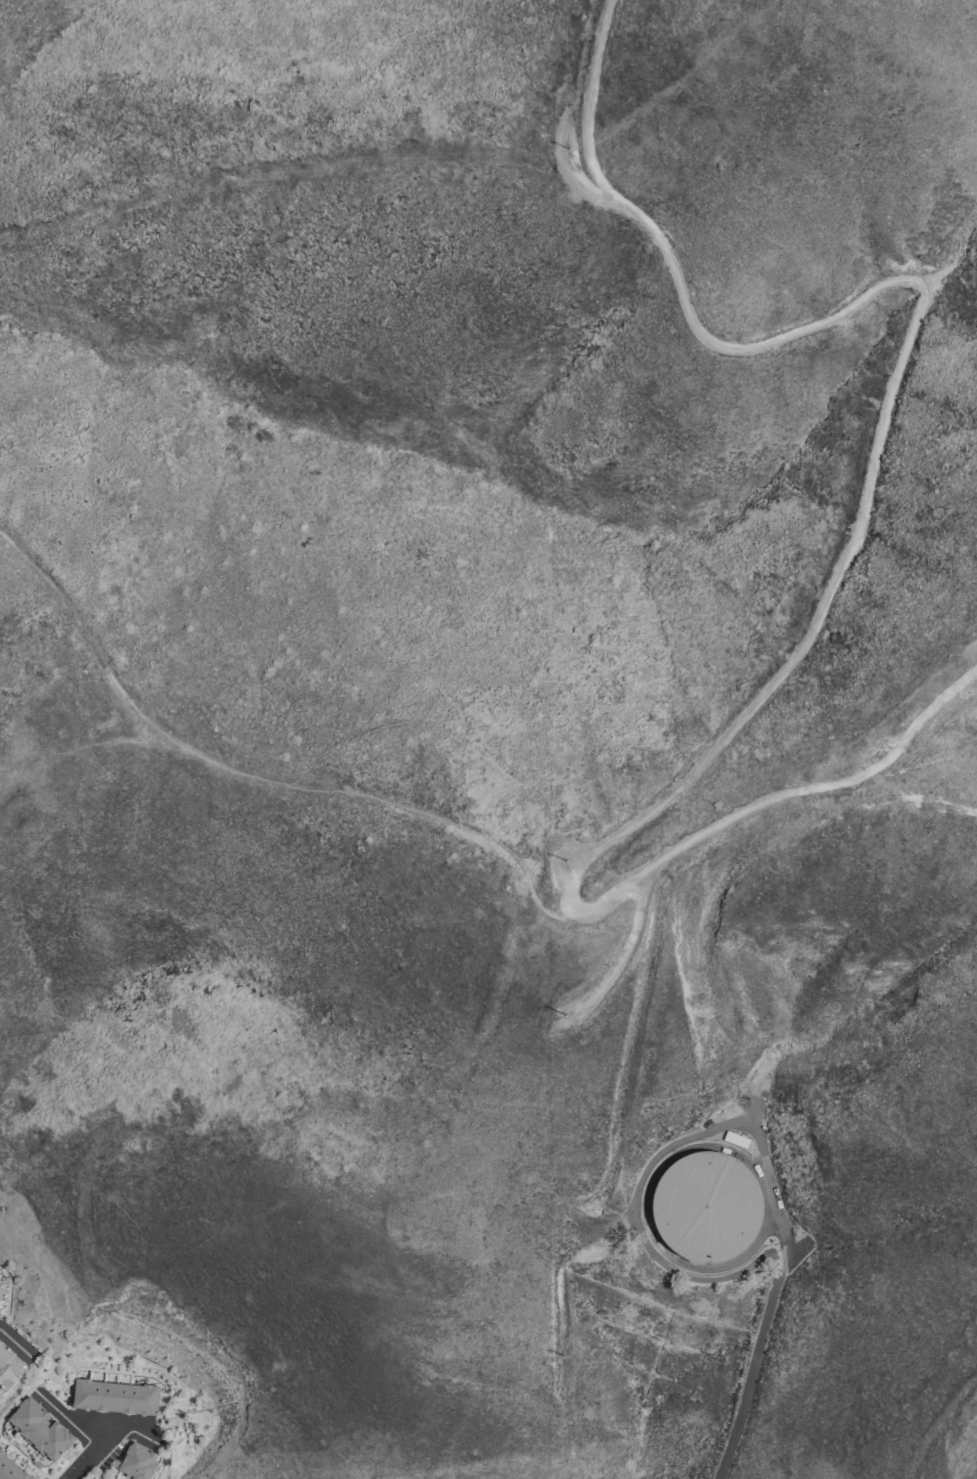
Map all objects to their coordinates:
road: (837, 574)
road: (80, 749)
road: (258, 781)
building: (704, 1208)
storage tank: (704, 1208)
building: (4, 1286)
road: (17, 1349)
road: (753, 1356)
building: (9, 1368)
building: (113, 1397)
building: (38, 1430)
road: (90, 1454)
building: (136, 1462)
building: (10, 1469)
building: (91, 1478)

